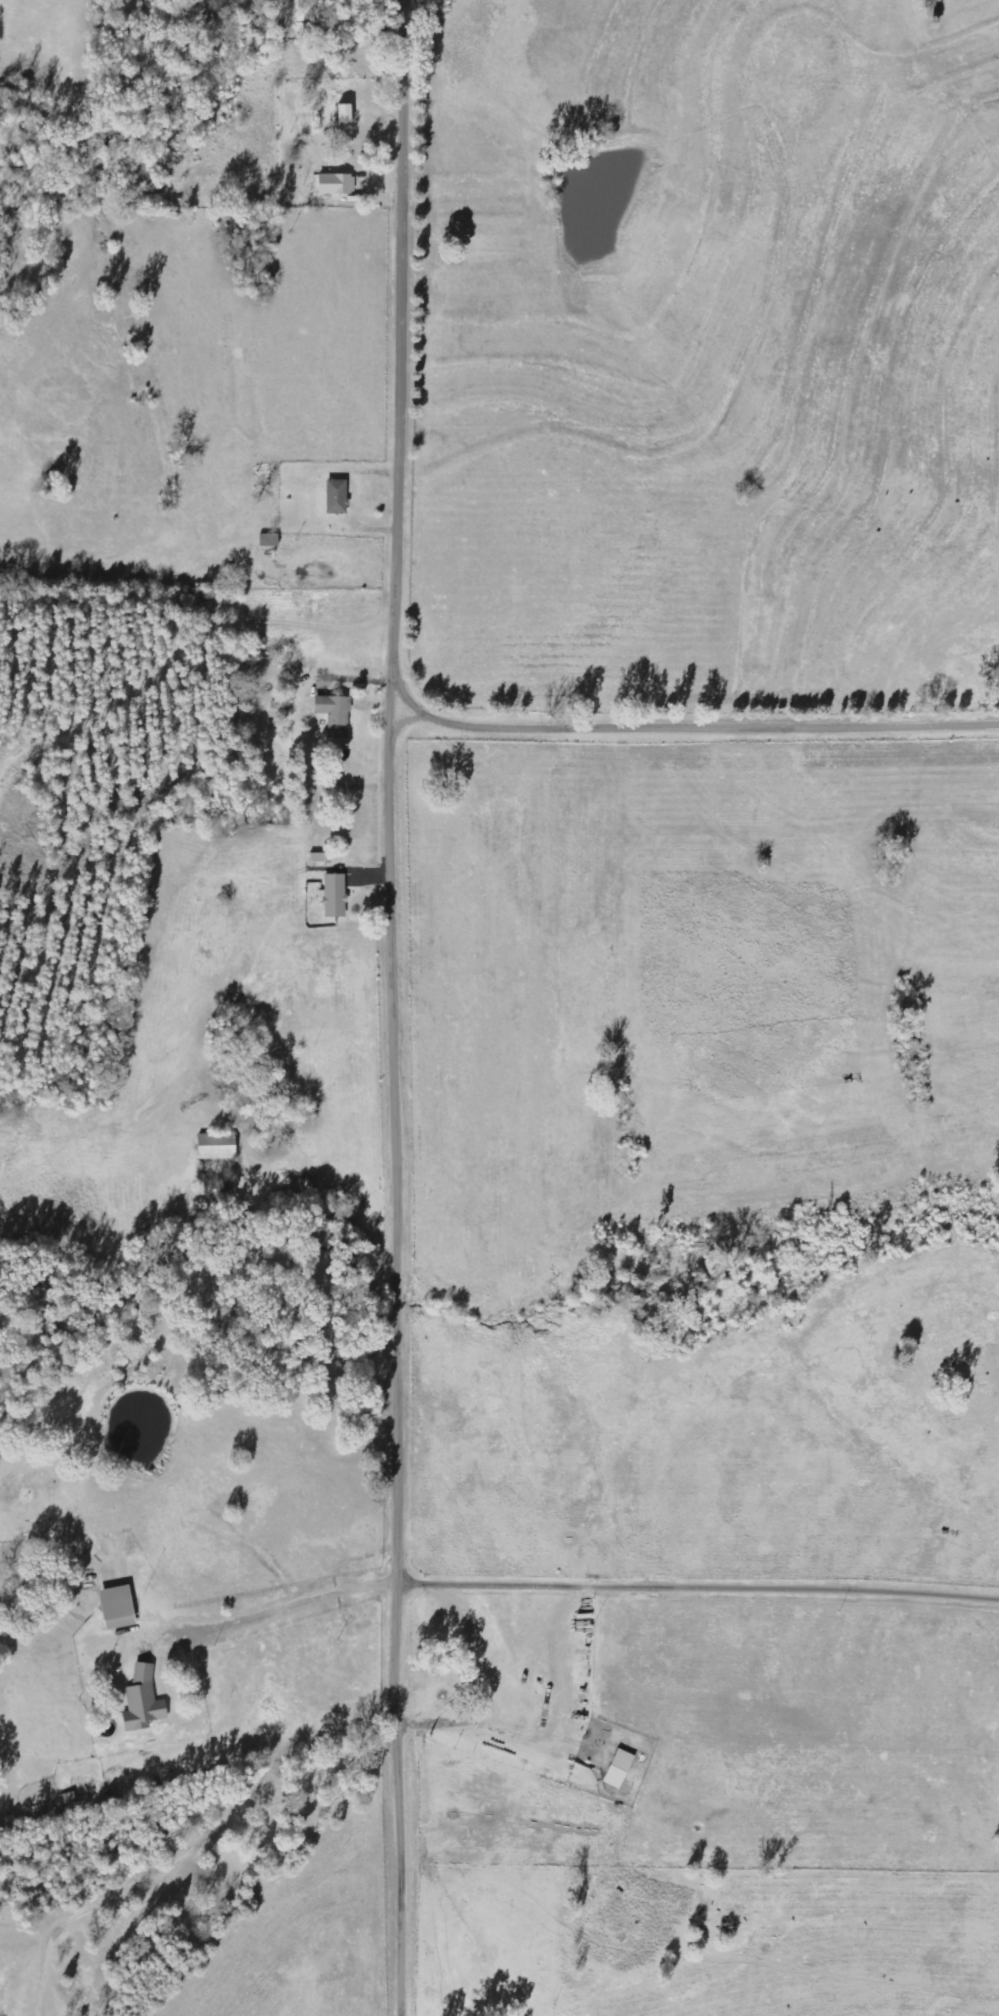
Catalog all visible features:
road: (202, 43)
building: (343, 184)
building: (336, 497)
building: (253, 712)
building: (334, 714)
road: (698, 725)
building: (317, 857)
building: (333, 894)
road: (400, 1007)
building: (215, 1146)
road: (196, 1553)
building: (116, 1607)
building: (142, 1700)
building: (617, 1769)
road: (205, 1841)
road: (792, 2014)

